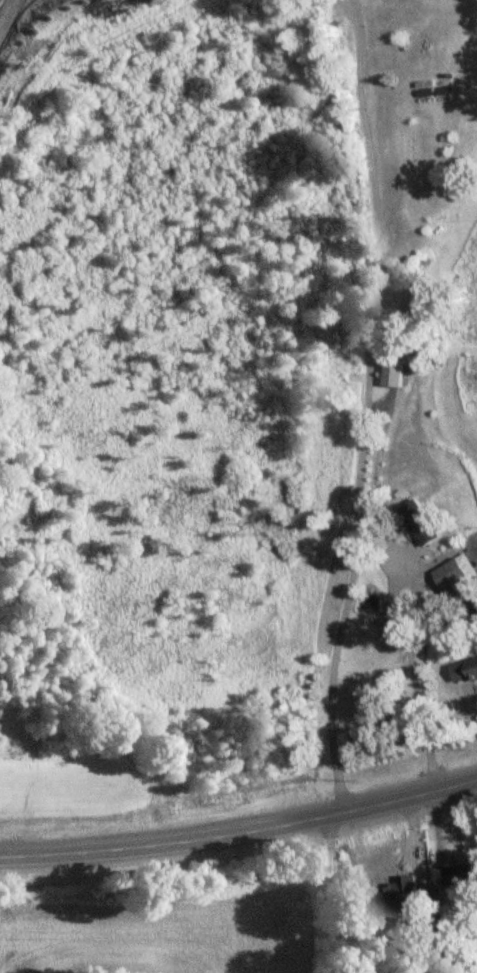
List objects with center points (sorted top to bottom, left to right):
road: (365, 407)
building: (420, 521)
building: (453, 576)
building: (472, 670)
road: (414, 684)
road: (241, 833)
building: (398, 864)
building: (462, 875)
road: (331, 896)

